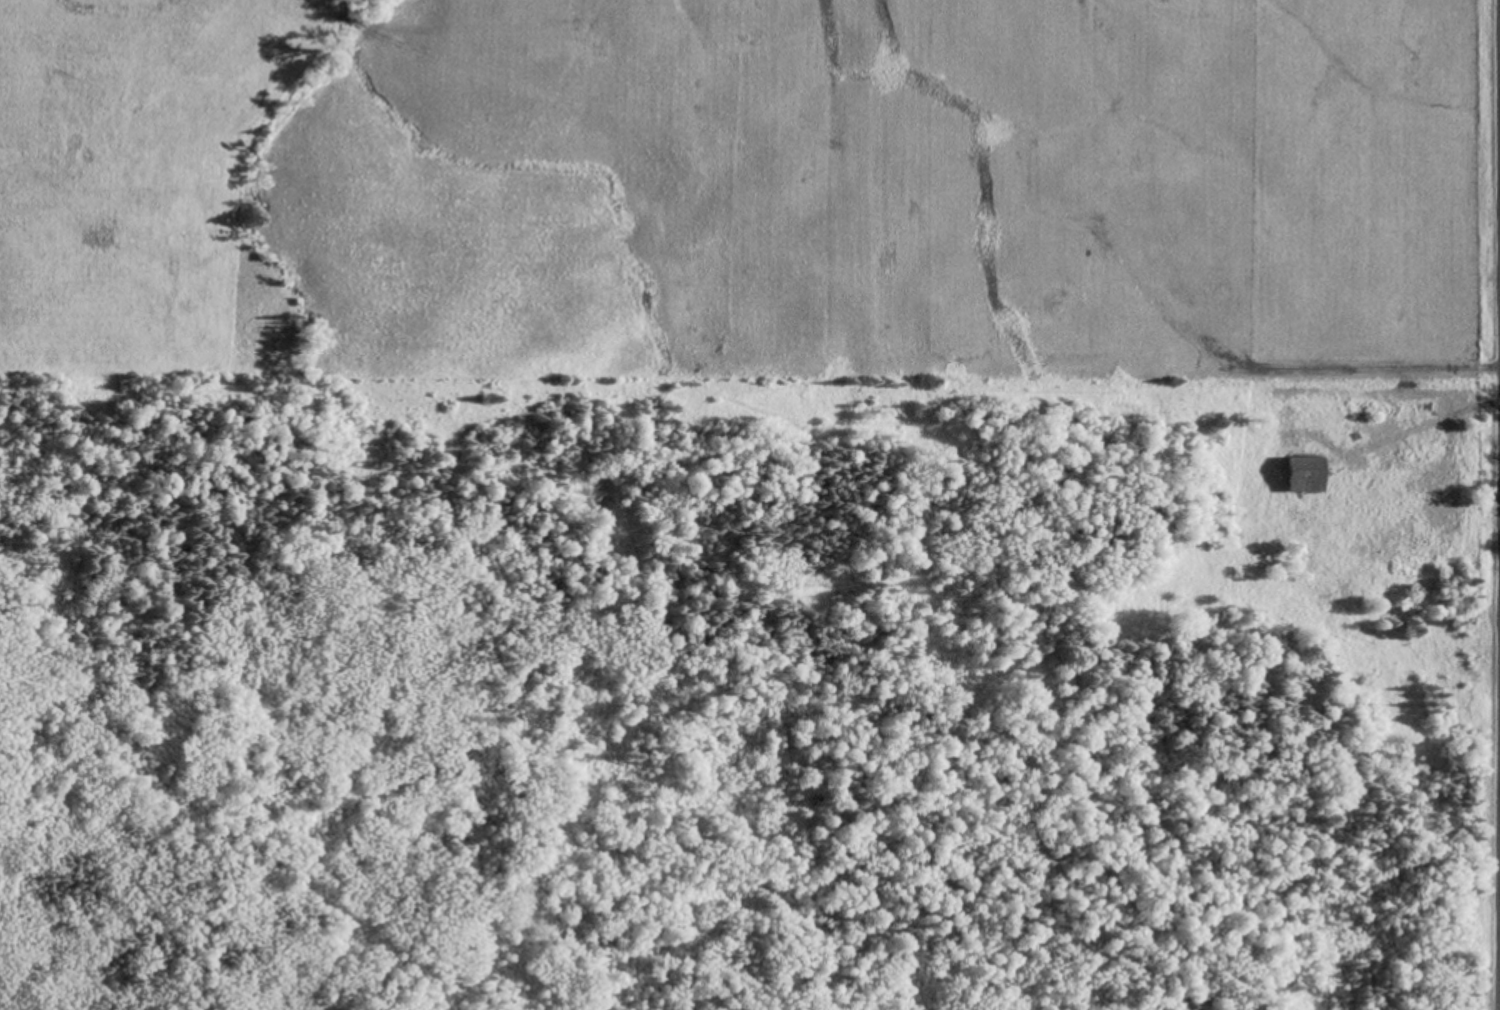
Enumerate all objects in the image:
building: (1298, 474)

